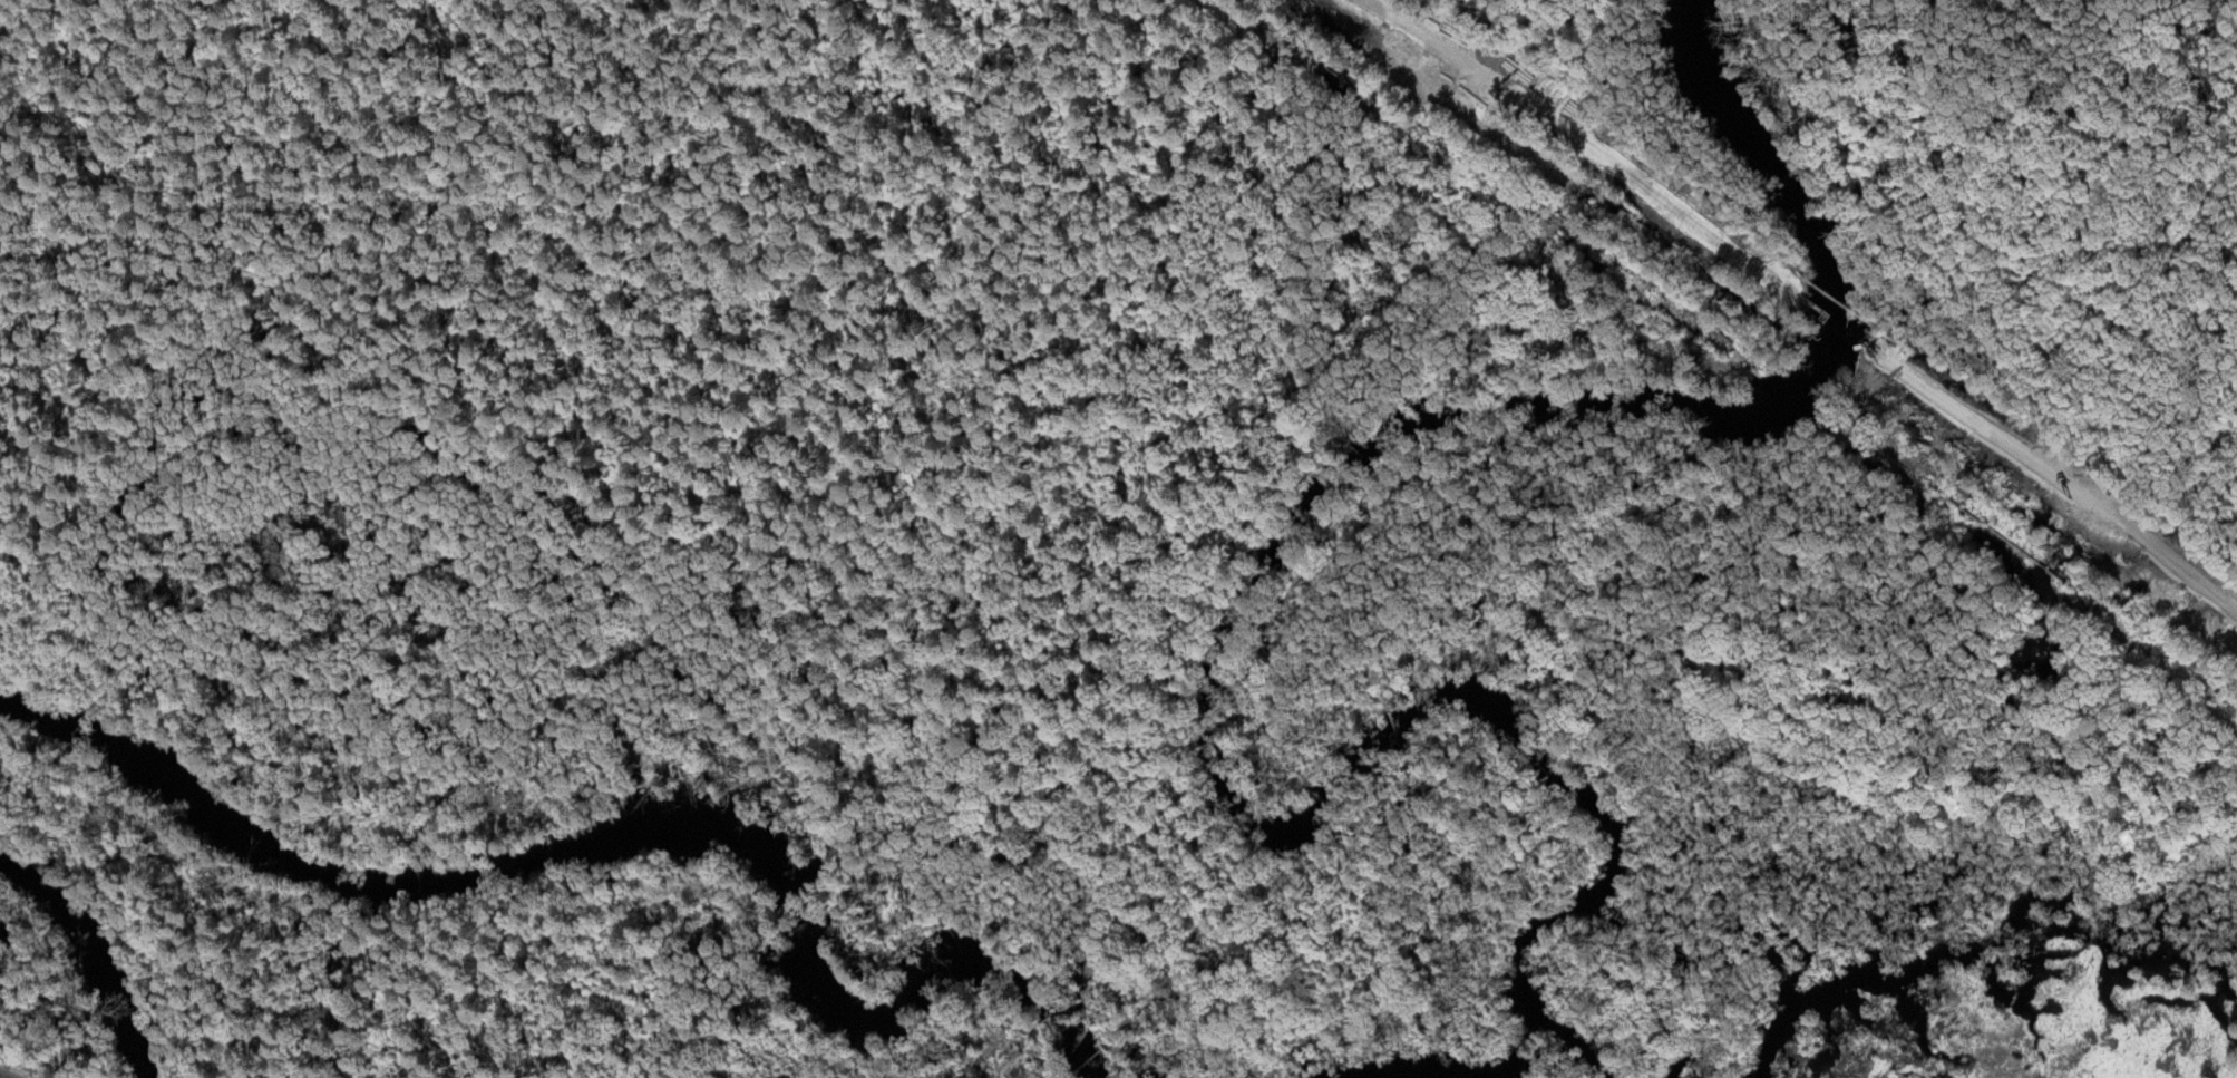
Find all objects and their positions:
railway: (4, 1076)

